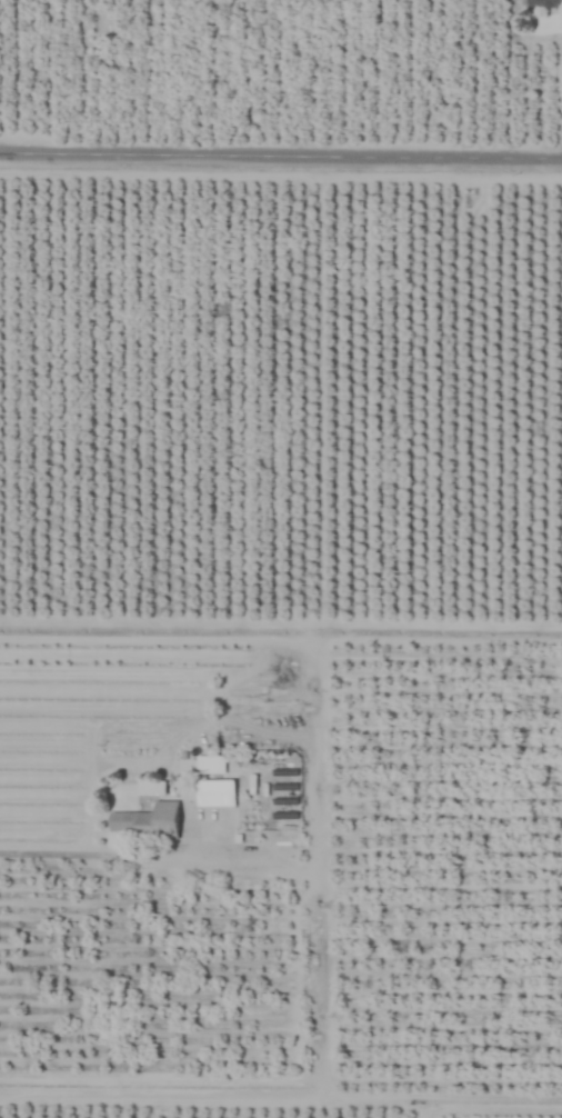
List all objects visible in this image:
building: (544, 3)
road: (281, 159)
road: (280, 633)
building: (214, 793)
building: (148, 821)
road: (264, 857)
road: (185, 1098)

